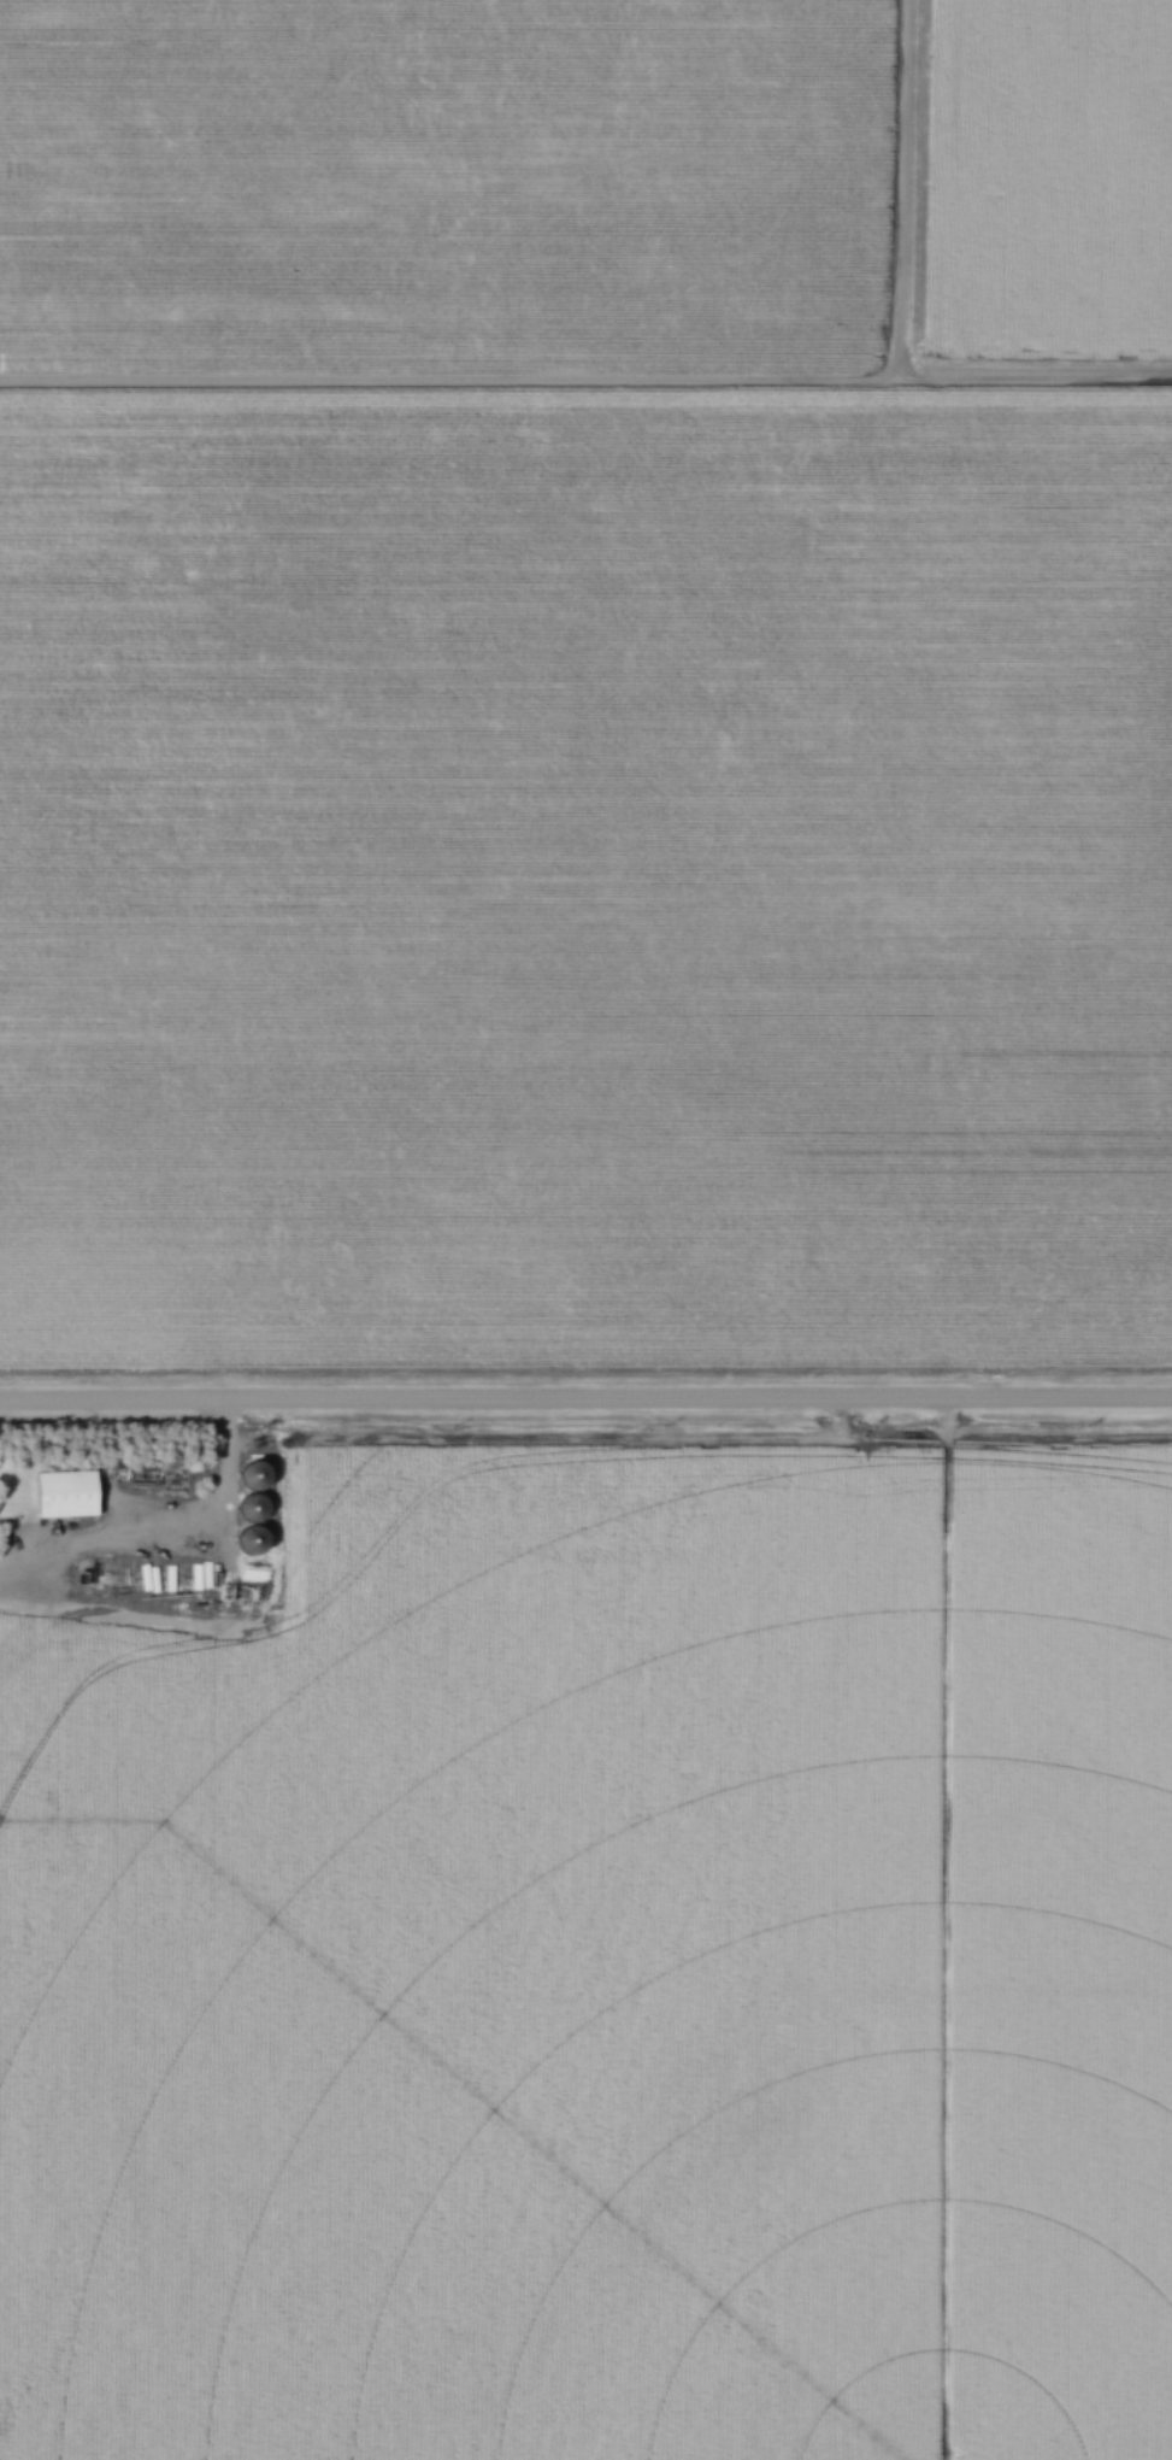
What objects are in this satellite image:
road: (585, 1404)
building: (71, 1496)
building: (0, 1508)
road: (228, 1516)
road: (113, 1540)

